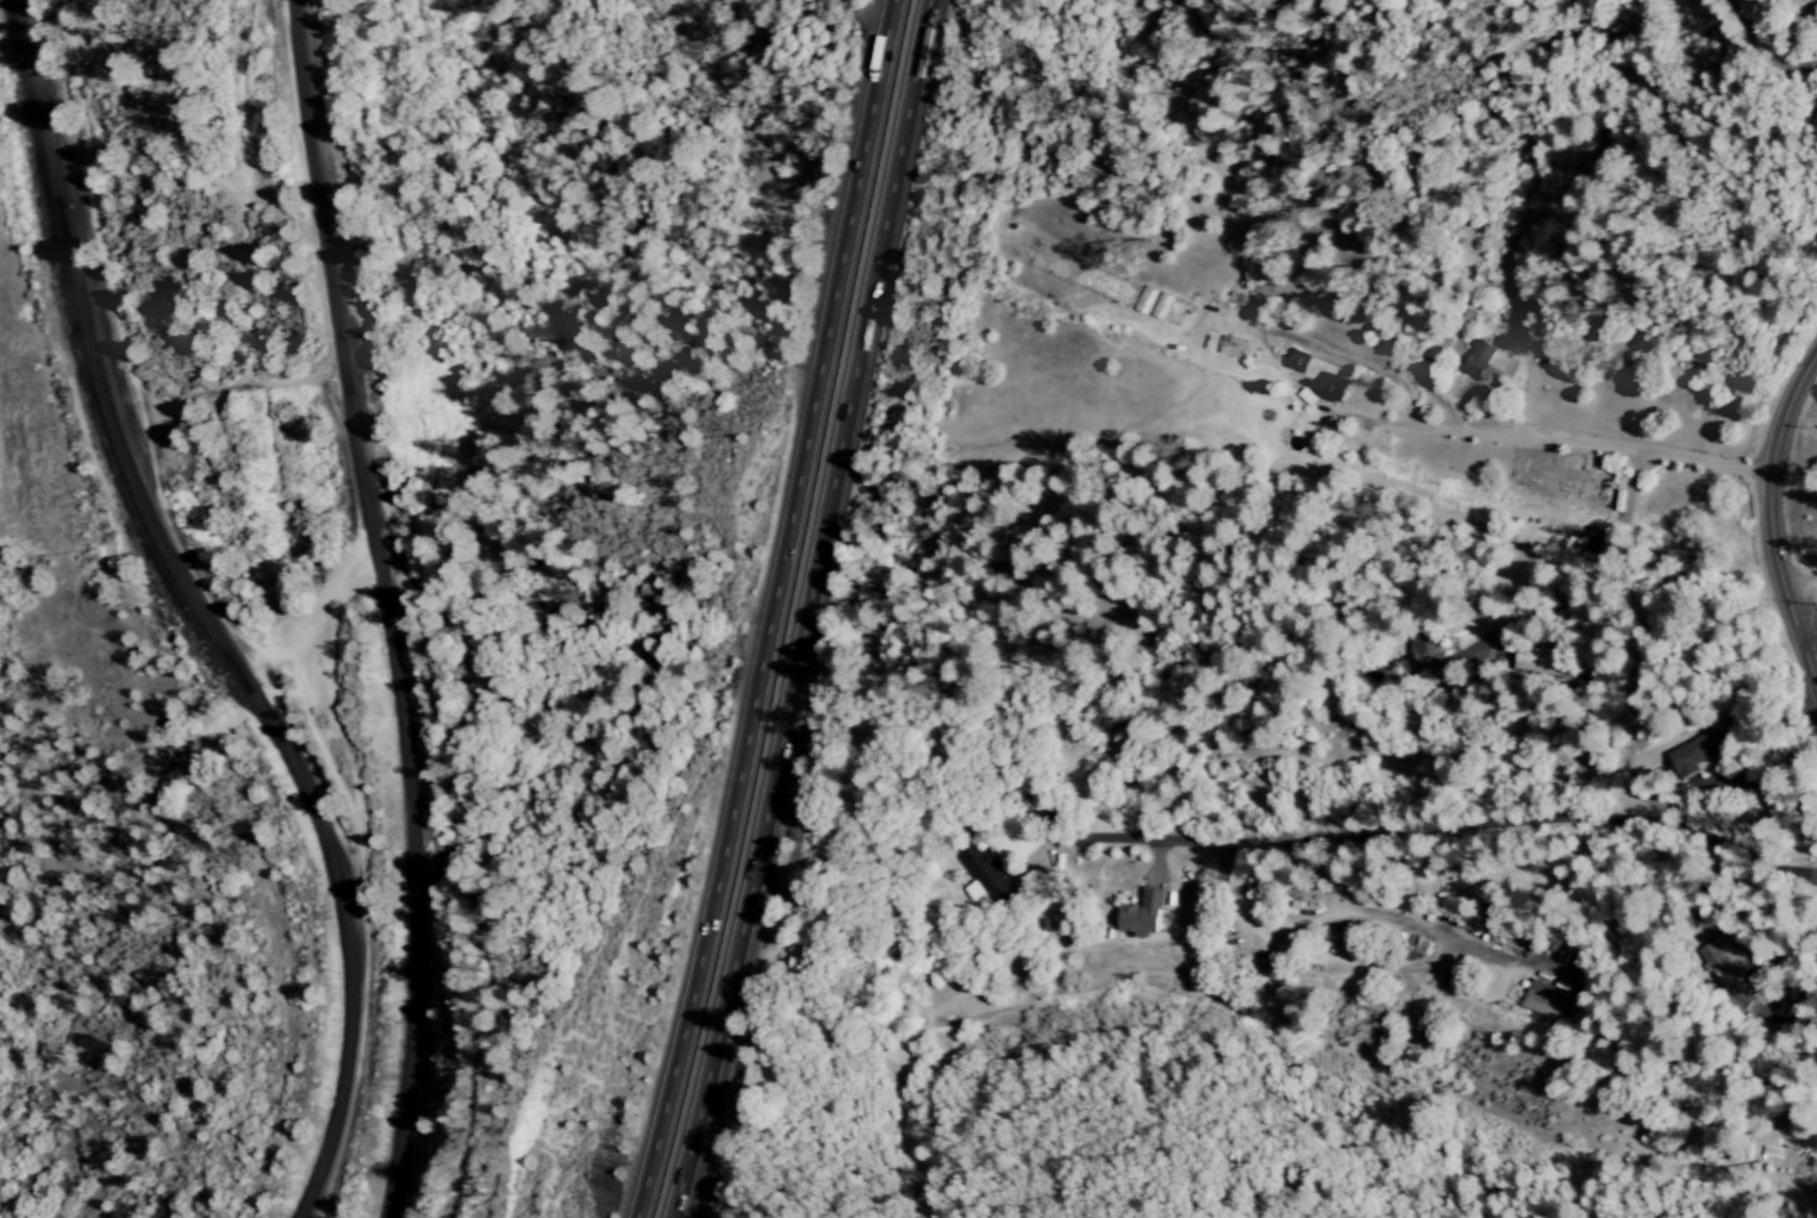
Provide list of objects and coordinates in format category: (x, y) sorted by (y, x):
road: (1765, 48)
building: (1485, 356)
building: (1297, 361)
building: (1331, 388)
road: (1612, 454)
road: (1767, 521)
road: (1405, 527)
railway: (387, 606)
road: (773, 610)
road: (814, 610)
railway: (204, 613)
road: (1806, 636)
building: (1438, 652)
building: (1548, 661)
building: (1692, 758)
road: (1441, 832)
building: (982, 870)
building: (1144, 914)
building: (1518, 937)
building: (1725, 963)
building: (1761, 991)
building: (1553, 1001)

